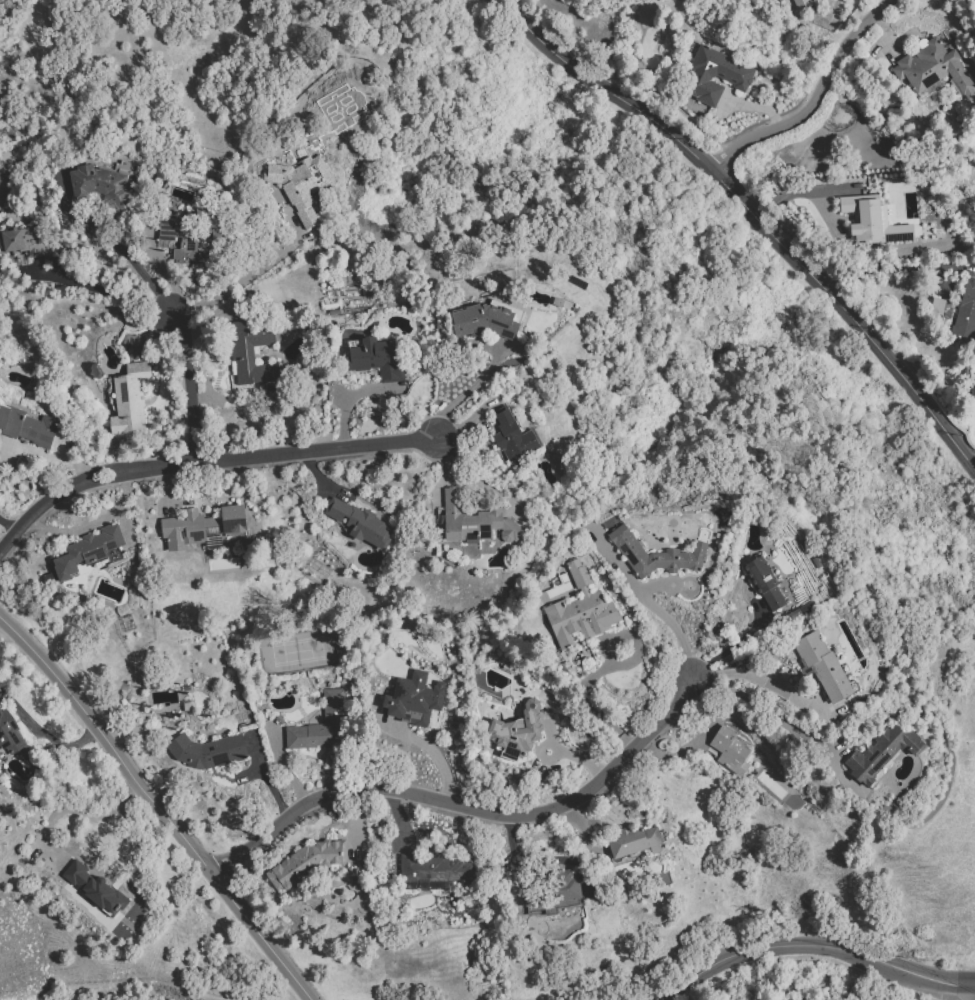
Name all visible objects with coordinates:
building: (801, 4)
building: (932, 66)
building: (733, 76)
road: (813, 98)
road: (756, 105)
building: (99, 184)
building: (296, 194)
road: (756, 215)
building: (871, 220)
building: (28, 241)
building: (189, 243)
road: (136, 267)
road: (890, 269)
road: (162, 272)
road: (240, 280)
road: (110, 291)
building: (966, 310)
building: (497, 319)
road: (147, 332)
building: (258, 354)
building: (380, 356)
building: (973, 388)
road: (186, 391)
road: (464, 392)
building: (128, 398)
building: (28, 428)
building: (511, 436)
road: (203, 462)
road: (973, 462)
building: (551, 469)
building: (474, 520)
building: (359, 523)
building: (203, 528)
building: (89, 552)
building: (654, 553)
building: (764, 582)
building: (579, 610)
road: (661, 617)
road: (628, 636)
road: (733, 643)
park: (296, 649)
building: (822, 665)
road: (763, 677)
building: (413, 698)
building: (175, 701)
road: (591, 702)
road: (760, 709)
road: (546, 727)
building: (324, 728)
building: (517, 731)
building: (10, 735)
road: (556, 749)
road: (683, 749)
building: (728, 750)
building: (881, 752)
building: (209, 753)
road: (435, 756)
road: (582, 759)
road: (280, 766)
road: (265, 777)
road: (841, 779)
road: (158, 804)
road: (468, 809)
road: (400, 819)
road: (575, 819)
building: (633, 840)
building: (311, 862)
road: (518, 863)
building: (433, 868)
building: (565, 885)
building: (97, 891)
road: (809, 943)

